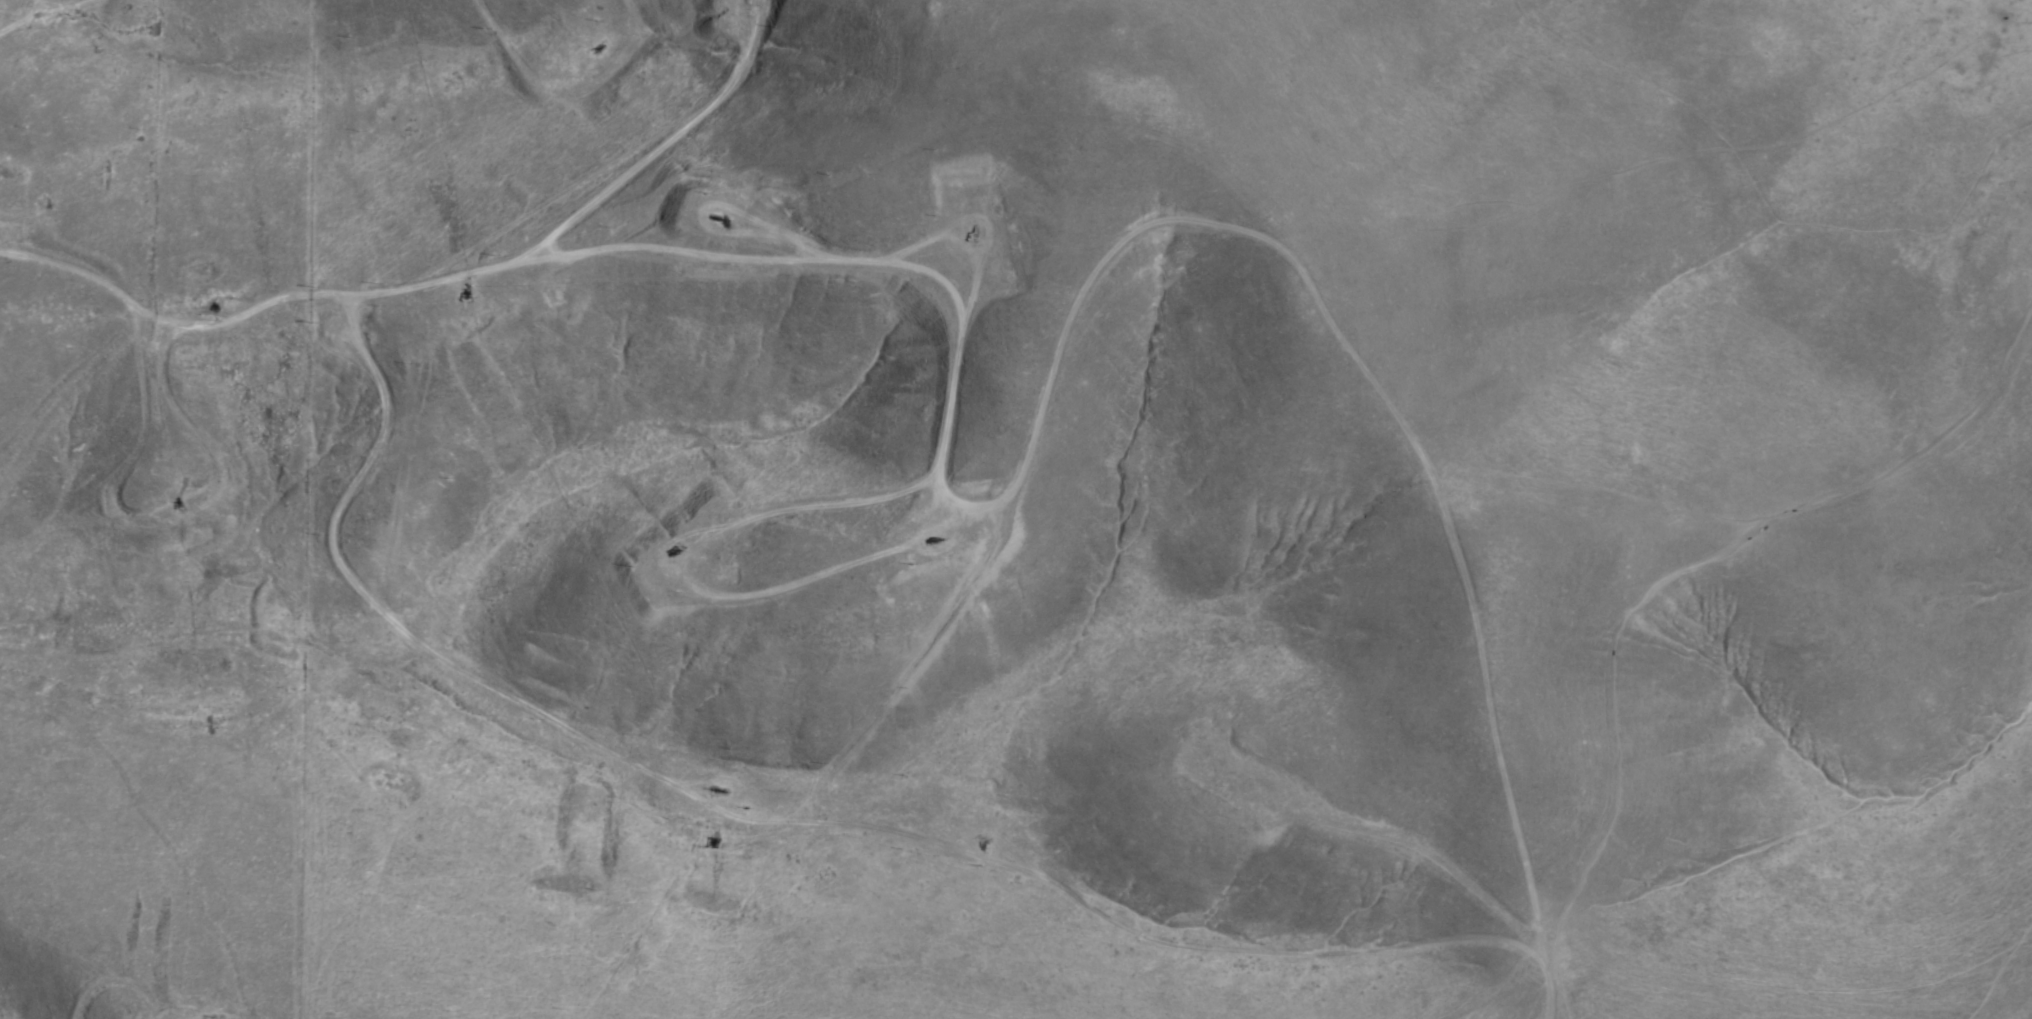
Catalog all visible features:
road: (45, 11)
road: (75, 274)
road: (333, 296)
road: (237, 752)
road: (987, 862)

